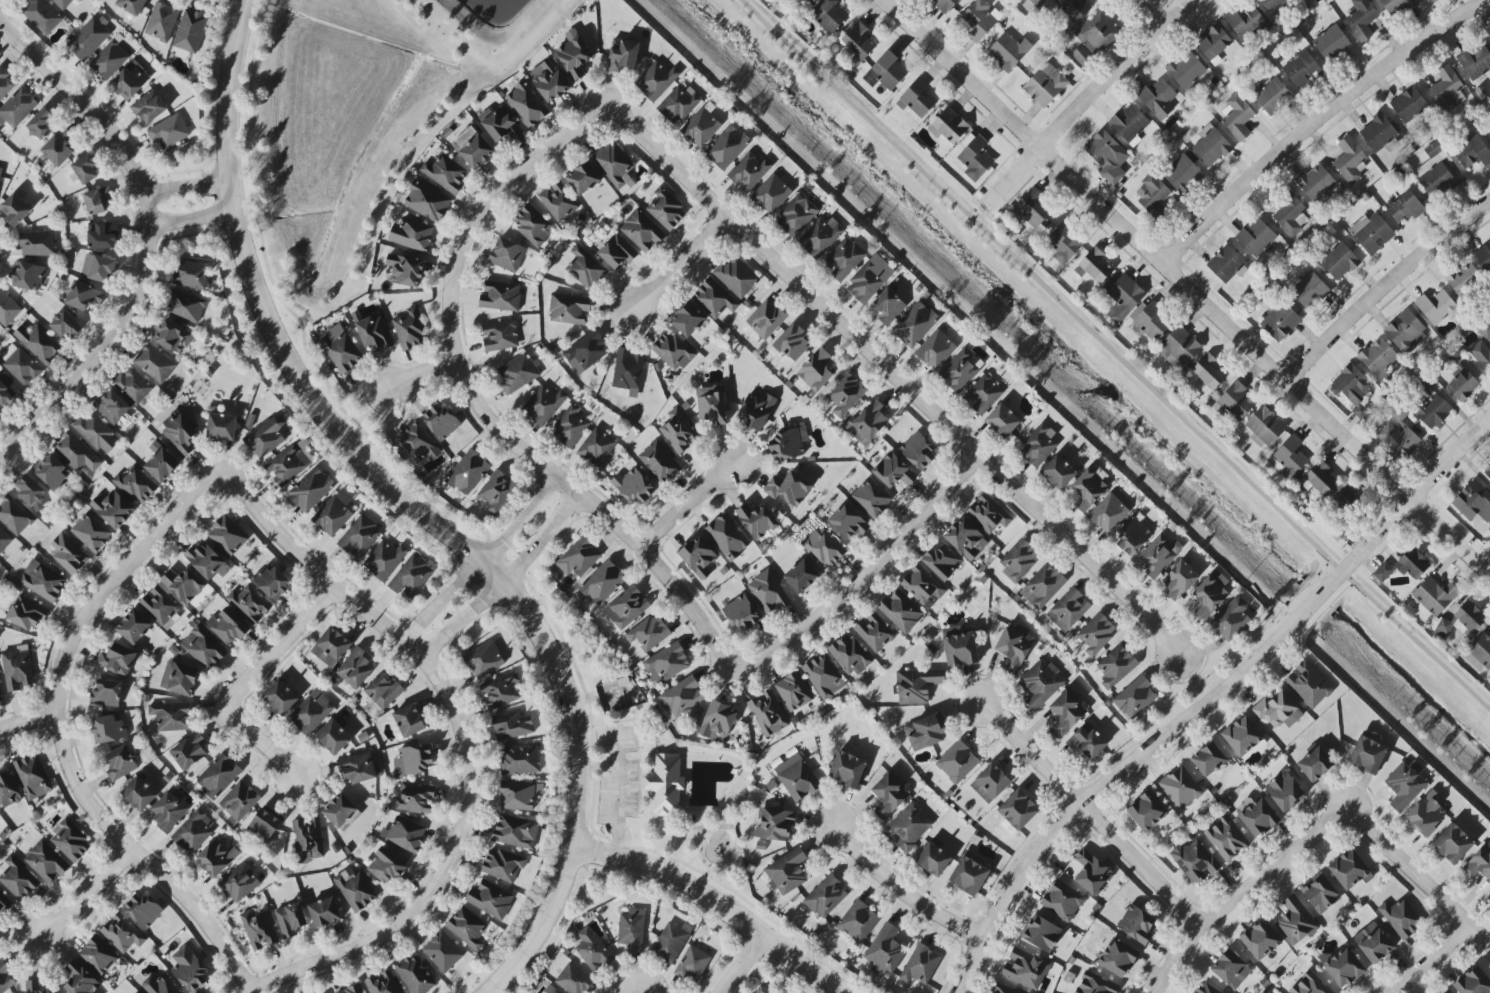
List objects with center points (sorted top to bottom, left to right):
building: (803, 1)
building: (62, 3)
building: (945, 4)
building: (1031, 4)
building: (1275, 5)
building: (132, 6)
building: (1397, 6)
building: (1073, 8)
road: (1150, 14)
building: (829, 15)
building: (42, 16)
building: (1362, 16)
building: (980, 19)
building: (162, 21)
building: (1250, 24)
building: (190, 32)
building: (89, 38)
building: (1094, 38)
building: (859, 41)
building: (1214, 42)
building: (1331, 43)
building: (1008, 51)
building: (623, 55)
building: (574, 57)
building: (109, 60)
building: (1475, 63)
building: (1301, 69)
building: (1186, 70)
building: (889, 71)
road: (1120, 72)
building: (657, 80)
building: (130, 81)
building: (549, 81)
building: (6, 83)
building: (1046, 85)
road: (209, 94)
building: (1273, 95)
building: (916, 99)
building: (1158, 99)
building: (678, 104)
building: (526, 105)
building: (1409, 105)
building: (17, 107)
building: (149, 107)
building: (1237, 117)
road: (1318, 121)
building: (42, 123)
building: (1130, 124)
building: (501, 125)
building: (949, 126)
building: (701, 127)
building: (1488, 129)
building: (169, 132)
building: (1378, 132)
building: (1211, 146)
building: (59, 148)
building: (473, 148)
building: (727, 148)
building: (1433, 151)
building: (1473, 153)
building: (1107, 156)
building: (974, 158)
building: (1350, 160)
building: (615, 166)
building: (86, 170)
building: (0, 172)
building: (749, 172)
building: (445, 173)
building: (1182, 174)
road: (1018, 175)
building: (583, 178)
building: (1435, 179)
building: (1316, 182)
road: (187, 188)
building: (771, 194)
building: (1154, 194)
building: (98, 201)
building: (558, 201)
building: (427, 202)
building: (1405, 208)
building: (1034, 209)
building: (15, 210)
building: (665, 210)
building: (797, 215)
building: (1291, 215)
road: (191, 219)
building: (533, 224)
building: (642, 231)
building: (1371, 233)
building: (412, 235)
building: (102, 236)
building: (822, 236)
building: (1256, 237)
road: (149, 239)
building: (1064, 243)
building: (38, 244)
building: (617, 252)
building: (507, 255)
building: (1484, 256)
building: (844, 258)
building: (1339, 262)
road: (676, 263)
building: (1227, 265)
building: (585, 267)
building: (1095, 267)
building: (98, 268)
building: (405, 270)
building: (190, 275)
building: (28, 276)
building: (736, 277)
building: (1463, 278)
building: (866, 282)
road: (1188, 286)
building: (1309, 289)
road: (1387, 292)
building: (84, 296)
building: (501, 296)
building: (1124, 298)
building: (714, 299)
building: (889, 306)
building: (185, 307)
building: (1437, 307)
building: (8, 309)
building: (569, 309)
road: (292, 313)
building: (766, 319)
building: (688, 320)
building: (1280, 320)
building: (1152, 322)
building: (67, 325)
building: (915, 325)
building: (410, 330)
building: (374, 332)
building: (1406, 332)
building: (173, 336)
building: (500, 336)
building: (38, 343)
building: (791, 345)
building: (1482, 346)
building: (1179, 348)
building: (341, 350)
building: (936, 350)
building: (672, 351)
building: (586, 352)
road: (1114, 355)
building: (1378, 357)
building: (154, 363)
building: (21, 365)
building: (816, 371)
building: (959, 371)
building: (628, 372)
building: (1208, 373)
building: (517, 374)
road: (422, 376)
road: (896, 378)
building: (1463, 385)
building: (132, 386)
building: (1351, 386)
building: (7, 390)
building: (983, 394)
building: (845, 395)
building: (1235, 402)
building: (544, 405)
building: (712, 405)
building: (112, 407)
road: (372, 407)
road: (479, 407)
building: (0, 411)
building: (756, 411)
building: (441, 421)
building: (1003, 421)
building: (868, 423)
building: (222, 427)
building: (571, 427)
building: (1264, 427)
building: (679, 431)
building: (96, 433)
building: (180, 434)
building: (266, 436)
building: (1398, 440)
building: (417, 443)
building: (788, 443)
building: (1038, 446)
building: (596, 448)
building: (918, 451)
building: (77, 453)
building: (1289, 458)
building: (659, 462)
building: (161, 463)
building: (289, 463)
building: (53, 471)
building: (894, 471)
building: (1058, 472)
building: (1487, 472)
building: (469, 473)
building: (1321, 479)
building: (136, 485)
building: (634, 486)
building: (788, 488)
building: (1089, 488)
building: (311, 489)
building: (31, 492)
building: (497, 492)
building: (871, 497)
building: (1346, 499)
road: (1410, 499)
building: (1473, 502)
road: (414, 507)
road: (686, 507)
building: (113, 509)
building: (333, 514)
building: (989, 514)
building: (1108, 514)
building: (14, 516)
building: (757, 521)
building: (848, 521)
building: (91, 532)
building: (227, 536)
building: (359, 537)
building: (728, 537)
building: (1132, 537)
building: (966, 539)
building: (4, 540)
building: (824, 547)
building: (68, 554)
building: (1158, 555)
building: (698, 557)
building: (579, 558)
building: (385, 560)
building: (1019, 560)
building: (205, 561)
road: (483, 562)
building: (942, 562)
building: (1412, 564)
building: (1383, 572)
road: (867, 574)
building: (412, 576)
building: (801, 577)
building: (1180, 579)
road: (505, 580)
building: (42, 581)
building: (272, 582)
building: (602, 583)
building: (183, 585)
building: (923, 587)
building: (1043, 587)
building: (768, 592)
building: (1211, 594)
building: (1435, 596)
road: (1315, 600)
building: (249, 604)
building: (160, 606)
building: (626, 608)
building: (1069, 610)
building: (900, 611)
building: (26, 613)
building: (741, 613)
building: (1231, 619)
building: (1462, 622)
building: (227, 626)
building: (134, 627)
building: (874, 632)
building: (648, 633)
building: (1096, 634)
road: (281, 646)
building: (331, 647)
building: (1014, 647)
building: (204, 648)
building: (1481, 649)
building: (960, 650)
building: (849, 655)
building: (117, 660)
building: (484, 660)
building: (667, 664)
building: (1116, 666)
building: (355, 668)
building: (18, 670)
building: (824, 677)
building: (179, 678)
building: (1041, 683)
building: (917, 685)
building: (1308, 685)
building: (0, 691)
building: (384, 691)
building: (501, 691)
building: (793, 692)
building: (107, 694)
building: (683, 697)
building: (280, 698)
building: (1135, 698)
road: (589, 700)
building: (1275, 709)
building: (311, 712)
building: (1067, 712)
building: (768, 714)
building: (171, 716)
building: (409, 720)
building: (717, 722)
road: (27, 723)
building: (512, 726)
building: (108, 729)
road: (57, 731)
building: (925, 732)
building: (334, 736)
building: (1242, 736)
road: (260, 741)
parking lot: (618, 741)
building: (1088, 741)
road: (462, 744)
road: (638, 746)
building: (190, 751)
building: (1368, 755)
road: (629, 757)
building: (1209, 759)
building: (413, 760)
building: (519, 760)
building: (957, 762)
building: (121, 763)
building: (1315, 764)
road: (597, 766)
building: (359, 768)
building: (847, 769)
building: (32, 776)
building: (219, 776)
building: (797, 778)
building: (990, 783)
building: (1406, 784)
building: (671, 787)
road: (1101, 787)
building: (1180, 788)
building: (8, 790)
building: (1284, 791)
building: (139, 794)
road: (619, 794)
parking lot: (620, 794)
building: (889, 795)
building: (520, 796)
park: (691, 797)
building: (414, 800)
building: (239, 801)
building: (1018, 809)
building: (168, 811)
building: (340, 811)
building: (1147, 811)
road: (1092, 815)
building: (1427, 815)
building: (1259, 818)
building: (776, 824)
building: (264, 826)
building: (908, 827)
building: (194, 831)
building: (515, 832)
building: (404, 834)
building: (308, 838)
road: (689, 838)
building: (1226, 838)
building: (70, 841)
building: (1453, 843)
building: (216, 858)
road: (694, 858)
building: (934, 860)
building: (46, 862)
building: (1195, 862)
building: (1478, 864)
building: (503, 865)
building: (386, 866)
building: (1349, 870)
building: (787, 872)
building: (1092, 873)
building: (969, 876)
building: (17, 878)
road: (1418, 882)
building: (239, 883)
building: (355, 889)
road: (903, 890)
road: (734, 893)
road: (1240, 893)
building: (1320, 894)
road: (84, 895)
building: (1489, 896)
building: (826, 897)
building: (490, 899)
building: (3, 901)
road: (713, 901)
building: (1062, 901)
building: (143, 910)
building: (325, 912)
building: (1401, 918)
building: (291, 919)
building: (858, 921)
building: (1295, 921)
building: (1137, 924)
building: (467, 928)
building: (632, 929)
building: (259, 931)
building: (122, 933)
building: (1041, 933)
building: (1261, 940)
building: (671, 942)
building: (1373, 943)
building: (592, 950)
building: (885, 951)
building: (442, 952)
building: (98, 956)
building: (1118, 958)
road: (1429, 960)
building: (692, 965)
building: (920, 965)
road: (743, 966)
building: (1344, 968)
building: (189, 969)
building: (1025, 969)
building: (1231, 969)
building: (416, 975)
building: (6, 978)
building: (81, 979)
building: (575, 980)
building: (1473, 982)
building: (383, 983)
building: (1096, 984)
building: (160, 985)
building: (1310, 985)
building: (34, 987)
building: (760, 989)
building: (1003, 989)
building: (1207, 989)
building: (352, 990)
building: (550, 990)
building: (1448, 991)
road: (645, 992)

